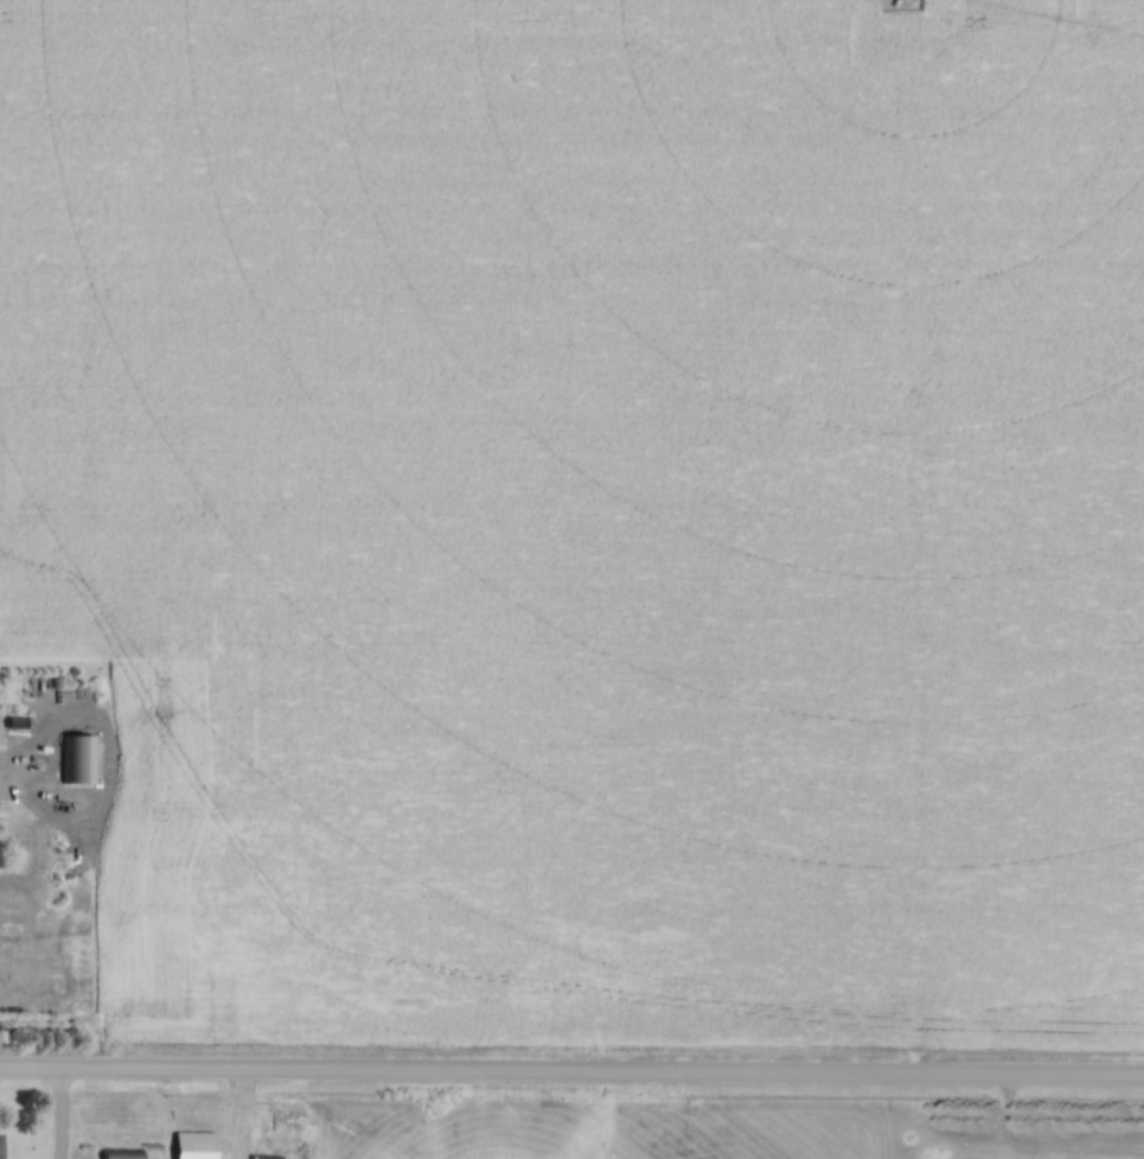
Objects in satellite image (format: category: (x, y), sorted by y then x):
building: (77, 759)
road: (571, 1076)
road: (55, 1115)
building: (196, 1146)
building: (1, 1147)
building: (124, 1154)
building: (267, 1155)

